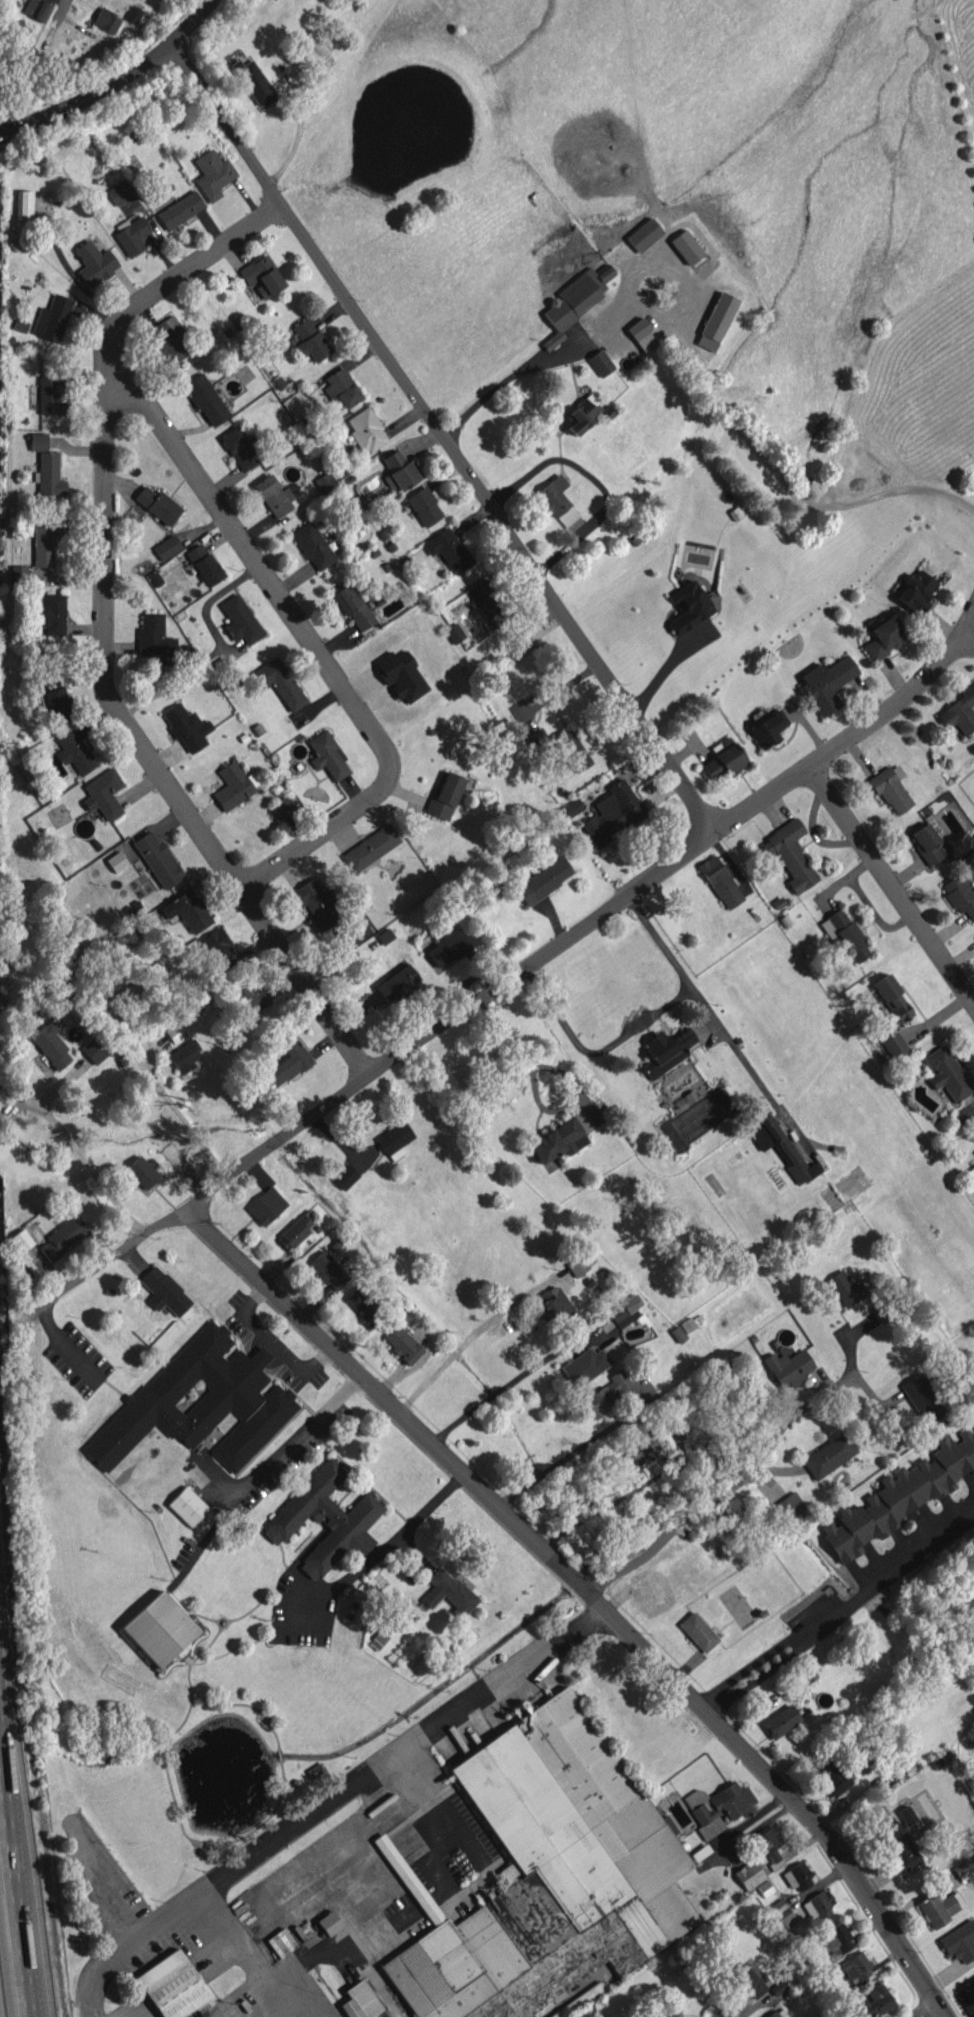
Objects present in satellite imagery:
building: (37, 9)
building: (133, 14)
building: (106, 20)
road: (57, 24)
building: (311, 47)
road: (123, 74)
building: (254, 82)
road: (8, 132)
building: (212, 174)
building: (120, 192)
building: (23, 204)
building: (180, 209)
building: (644, 234)
building: (132, 235)
building: (686, 246)
building: (94, 263)
building: (263, 277)
road: (638, 299)
building: (575, 301)
building: (52, 318)
building: (716, 320)
building: (642, 335)
building: (168, 339)
building: (310, 339)
road: (532, 360)
building: (600, 362)
building: (342, 387)
building: (49, 395)
building: (206, 399)
building: (583, 412)
building: (366, 430)
road: (440, 439)
building: (38, 441)
building: (240, 447)
building: (400, 470)
building: (49, 474)
road: (593, 481)
building: (325, 483)
road: (784, 487)
building: (276, 494)
building: (552, 498)
building: (158, 504)
building: (424, 506)
building: (45, 539)
building: (313, 545)
building: (167, 546)
building: (448, 549)
building: (204, 564)
building: (18, 575)
building: (916, 590)
building: (486, 599)
building: (689, 606)
building: (354, 607)
building: (52, 614)
building: (240, 620)
road: (967, 620)
building: (454, 632)
road: (105, 636)
building: (154, 636)
building: (884, 636)
road: (967, 640)
road: (309, 643)
road: (664, 667)
building: (401, 675)
building: (279, 682)
building: (826, 682)
building: (56, 699)
building: (959, 712)
building: (185, 727)
building: (766, 730)
building: (538, 739)
road: (844, 742)
building: (572, 749)
building: (74, 751)
building: (328, 755)
building: (724, 758)
building: (234, 785)
building: (890, 790)
building: (103, 793)
building: (444, 794)
building: (282, 806)
building: (573, 807)
building: (613, 813)
building: (927, 843)
building: (370, 847)
building: (791, 855)
building: (158, 858)
building: (116, 861)
building: (543, 879)
building: (720, 881)
road: (892, 887)
building: (960, 892)
building: (316, 903)
building: (188, 910)
building: (844, 933)
building: (346, 939)
building: (448, 948)
building: (220, 949)
building: (397, 982)
building: (247, 997)
building: (891, 998)
road: (641, 1023)
building: (175, 1032)
building: (894, 1044)
building: (51, 1047)
building: (94, 1049)
building: (666, 1050)
building: (185, 1055)
building: (285, 1063)
road: (370, 1073)
building: (946, 1073)
road: (182, 1117)
building: (395, 1139)
building: (558, 1140)
building: (777, 1145)
road: (90, 1168)
building: (142, 1171)
building: (345, 1176)
building: (972, 1182)
building: (266, 1205)
building: (294, 1231)
building: (63, 1237)
building: (21, 1239)
building: (578, 1265)
building: (328, 1270)
building: (843, 1288)
building: (164, 1291)
building: (360, 1302)
building: (554, 1304)
building: (628, 1312)
road: (475, 1333)
building: (678, 1333)
road: (271, 1343)
building: (402, 1344)
building: (593, 1361)
building: (788, 1367)
road: (507, 1380)
building: (607, 1392)
building: (923, 1397)
building: (200, 1402)
road: (295, 1439)
building: (643, 1447)
road: (579, 1448)
building: (829, 1455)
road: (730, 1490)
road: (619, 1494)
building: (901, 1494)
building: (187, 1505)
building: (788, 1505)
building: (350, 1517)
road: (381, 1550)
building: (448, 1592)
road: (587, 1594)
road: (839, 1609)
building: (159, 1629)
building: (698, 1631)
building: (781, 1721)
road: (2, 1748)
building: (315, 1769)
building: (832, 1776)
road: (351, 1781)
road: (438, 1804)
building: (718, 1806)
building: (906, 1814)
building: (899, 1845)
building: (769, 1846)
road: (17, 1865)
building: (964, 1869)
building: (749, 1874)
building: (546, 1875)
building: (797, 1876)
building: (817, 1906)
building: (940, 1906)
building: (782, 1913)
building: (329, 1923)
building: (837, 1937)
building: (960, 1941)
building: (856, 1967)
building: (748, 1980)
road: (87, 1984)
building: (172, 1985)
building: (966, 1991)
building: (360, 2000)
building: (873, 2001)
road: (924, 2010)
building: (772, 2014)
building: (670, 2015)

